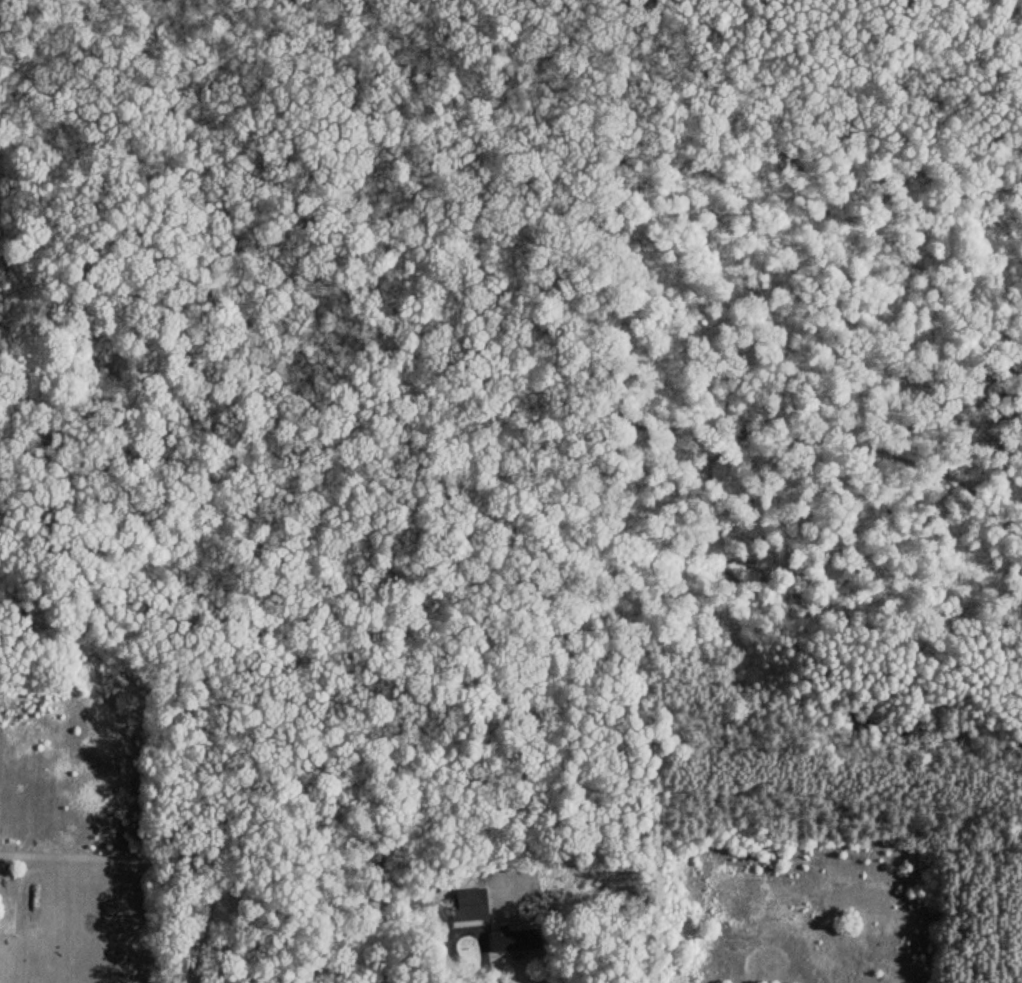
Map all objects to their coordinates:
building: (511, 941)

